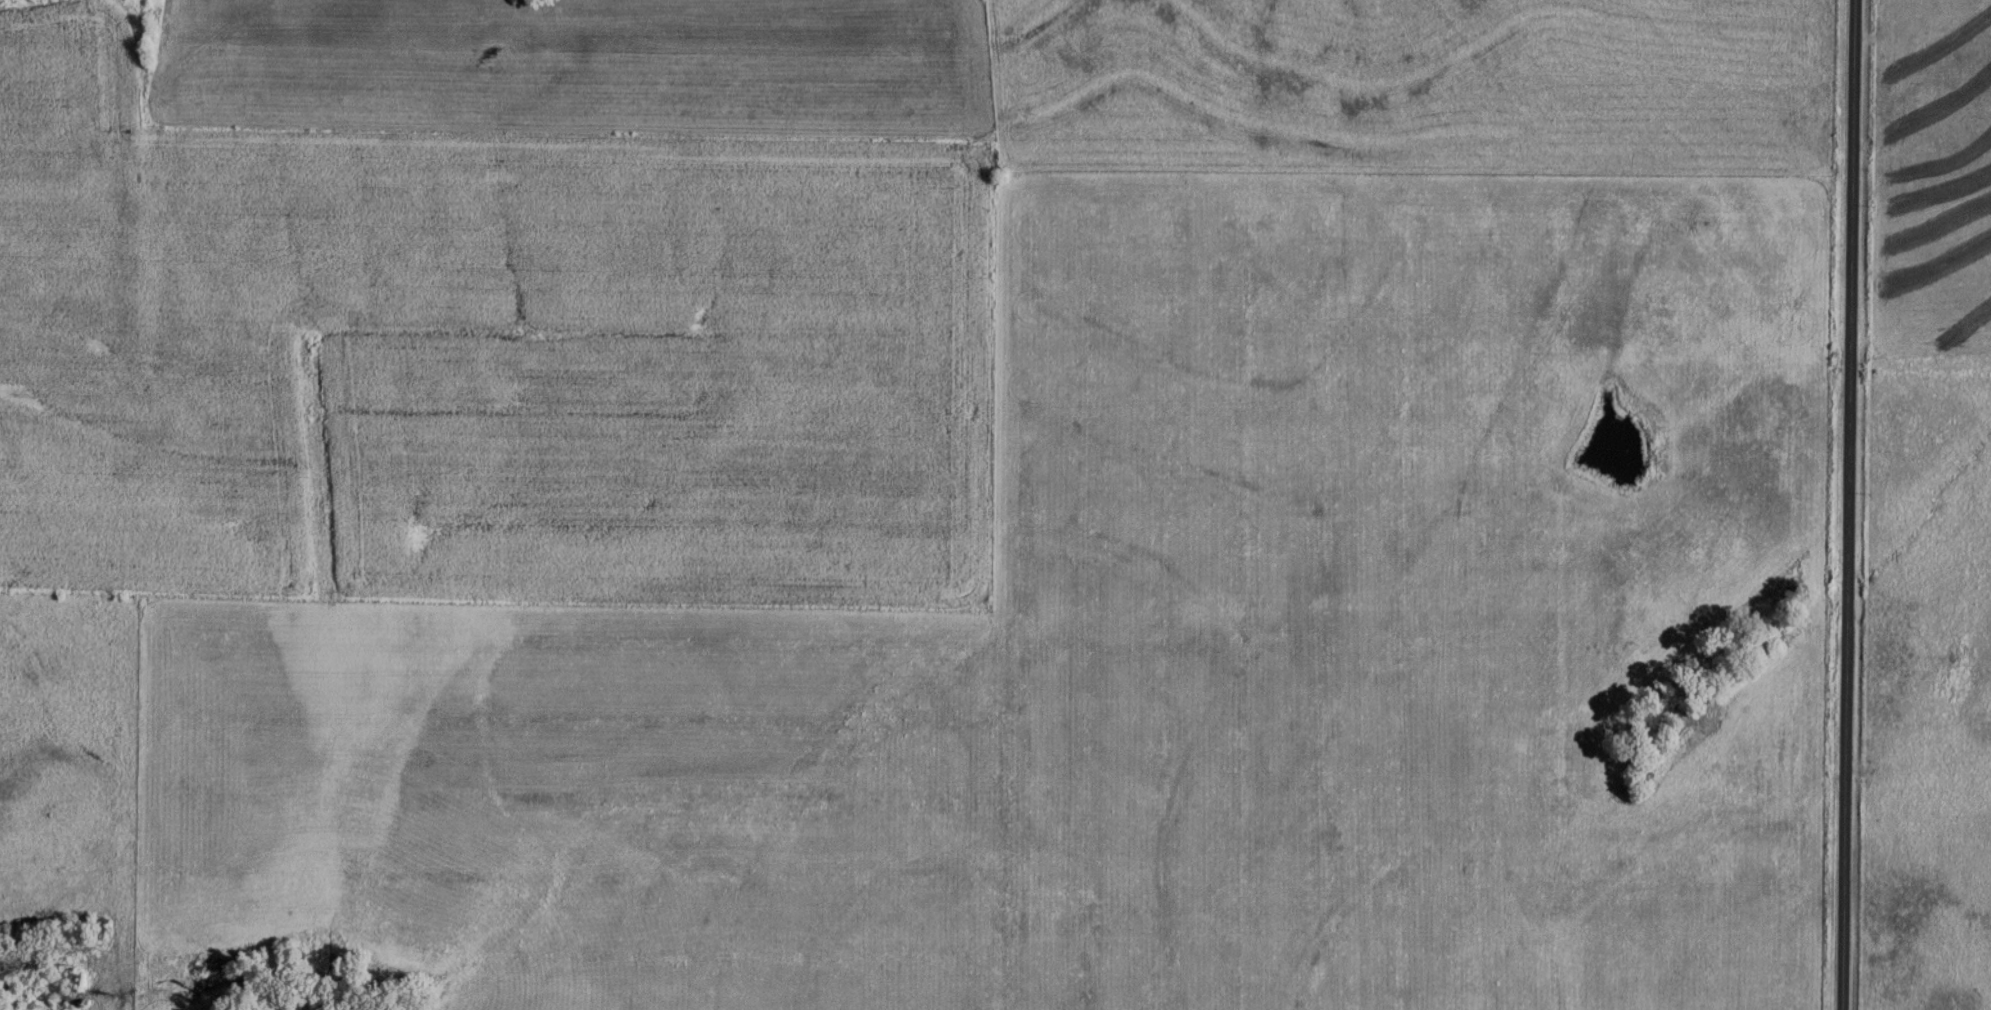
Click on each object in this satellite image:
road: (1851, 505)

